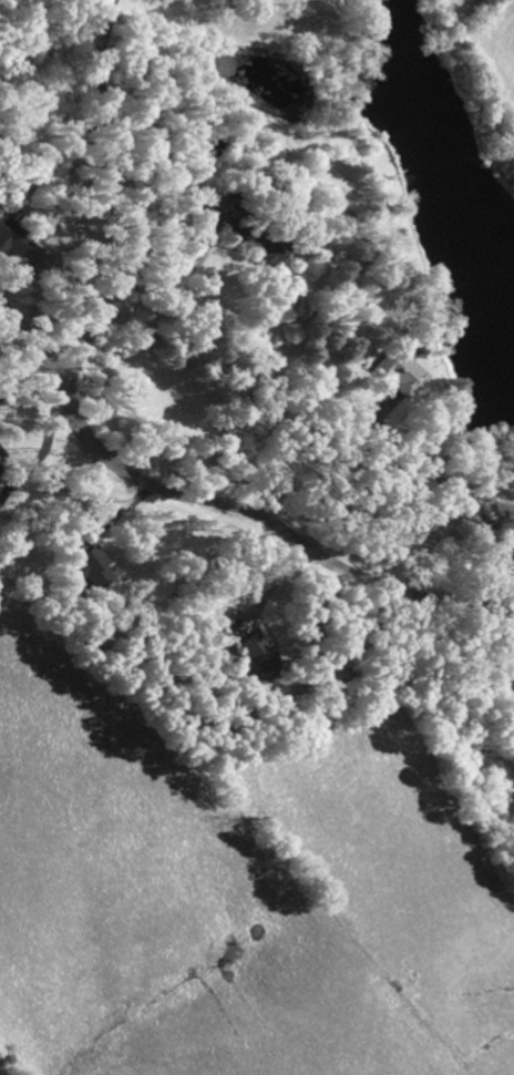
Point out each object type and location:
road: (136, 197)
building: (10, 234)
building: (264, 247)
building: (399, 375)
road: (25, 391)
road: (44, 451)
road: (9, 465)
road: (220, 502)
building: (85, 565)
building: (257, 653)

